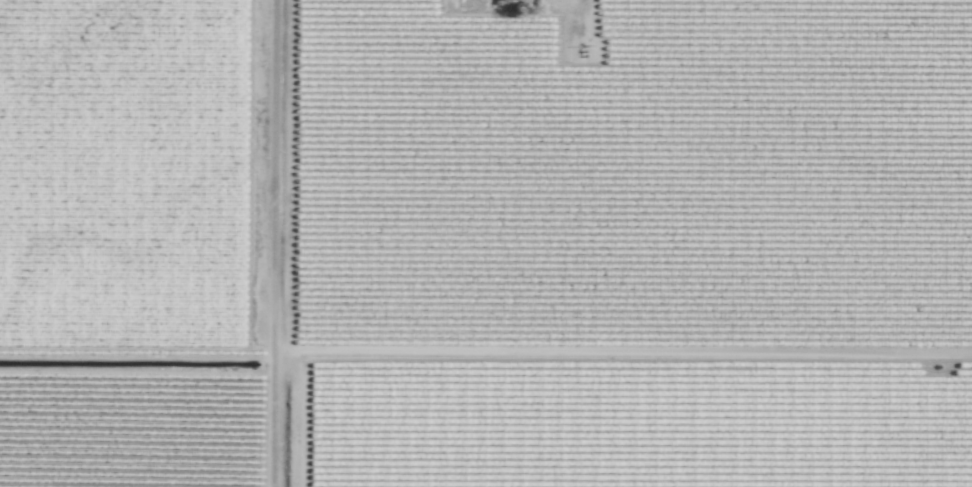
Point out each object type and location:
building: (510, 0)
road: (277, 191)
road: (277, 391)
road: (276, 444)

